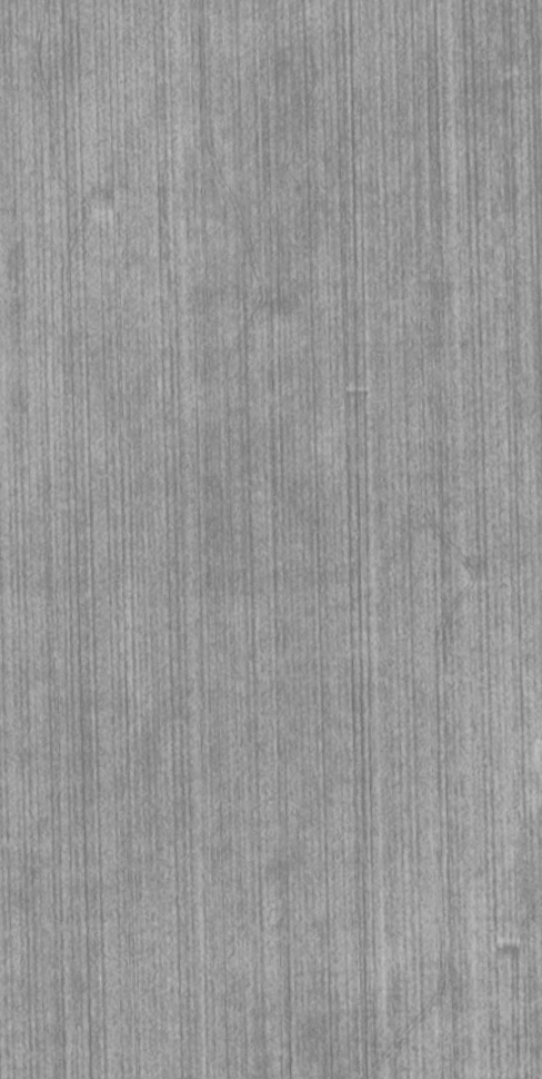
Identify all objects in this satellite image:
crop: (271, 539)

